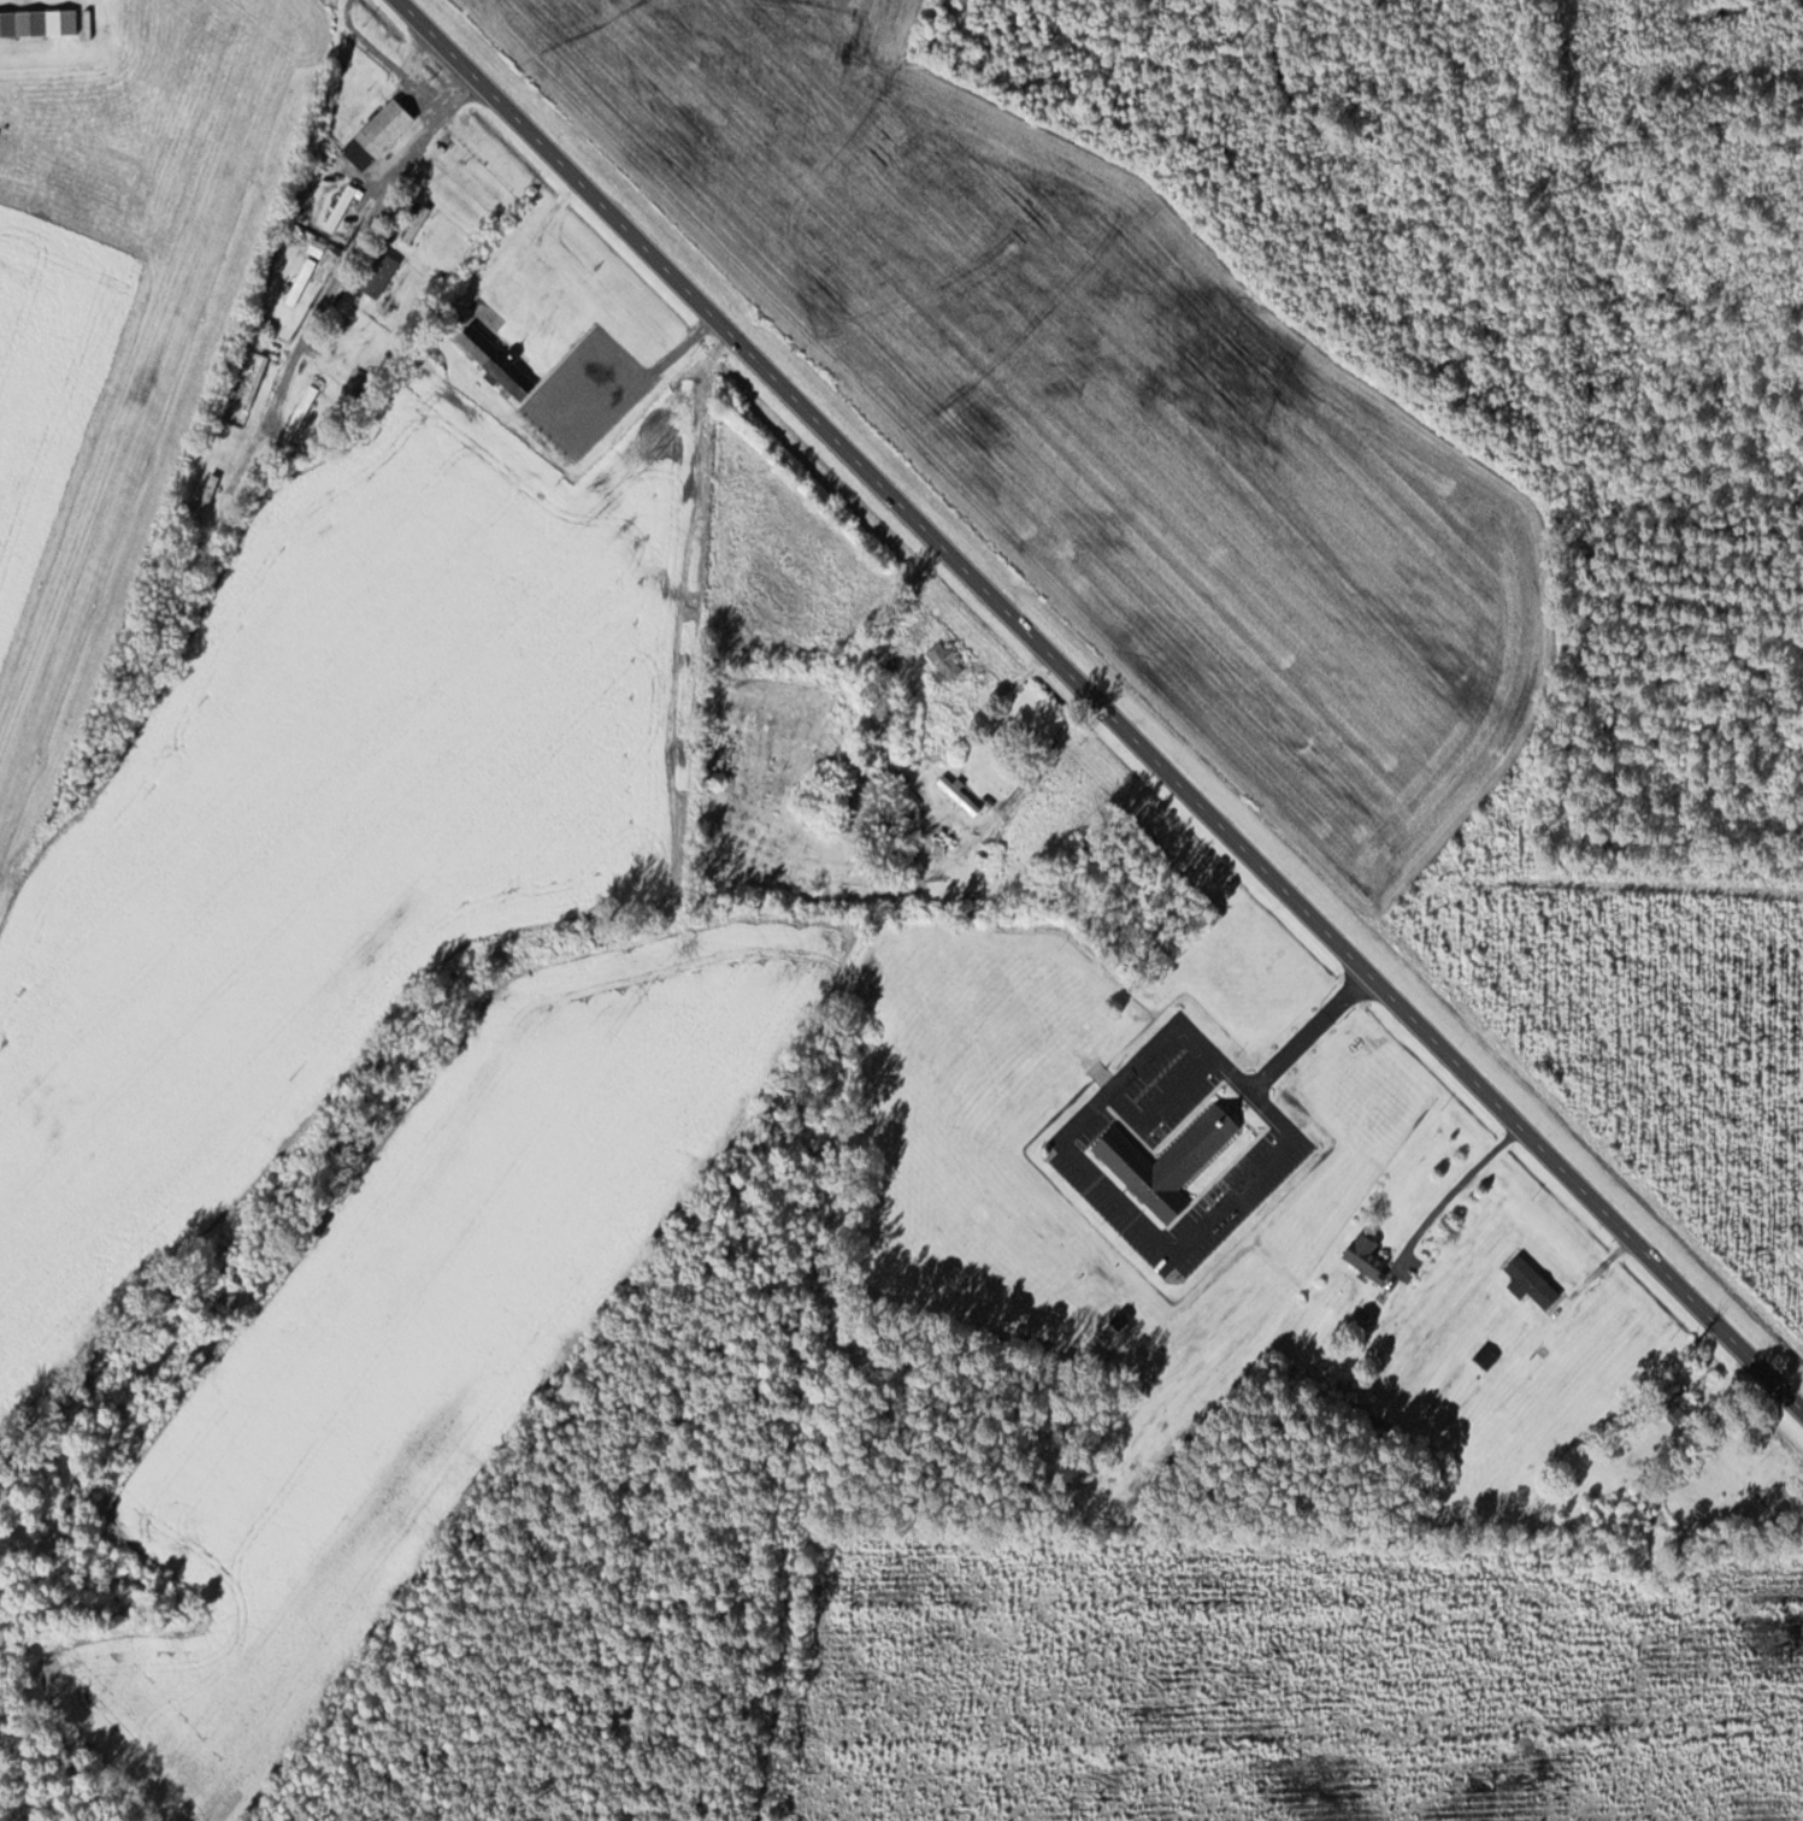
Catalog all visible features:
building: (23, 20)
building: (379, 131)
building: (449, 169)
building: (341, 206)
building: (416, 223)
road: (344, 267)
building: (381, 273)
building: (301, 278)
airport: (120, 297)
building: (343, 335)
building: (497, 360)
building: (254, 377)
airport runway: (140, 409)
building: (207, 495)
building: (945, 660)
road: (1098, 706)
building: (959, 795)
building: (1177, 1161)
building: (1367, 1255)
building: (1532, 1283)
building: (1684, 1408)
building: (1668, 1526)

